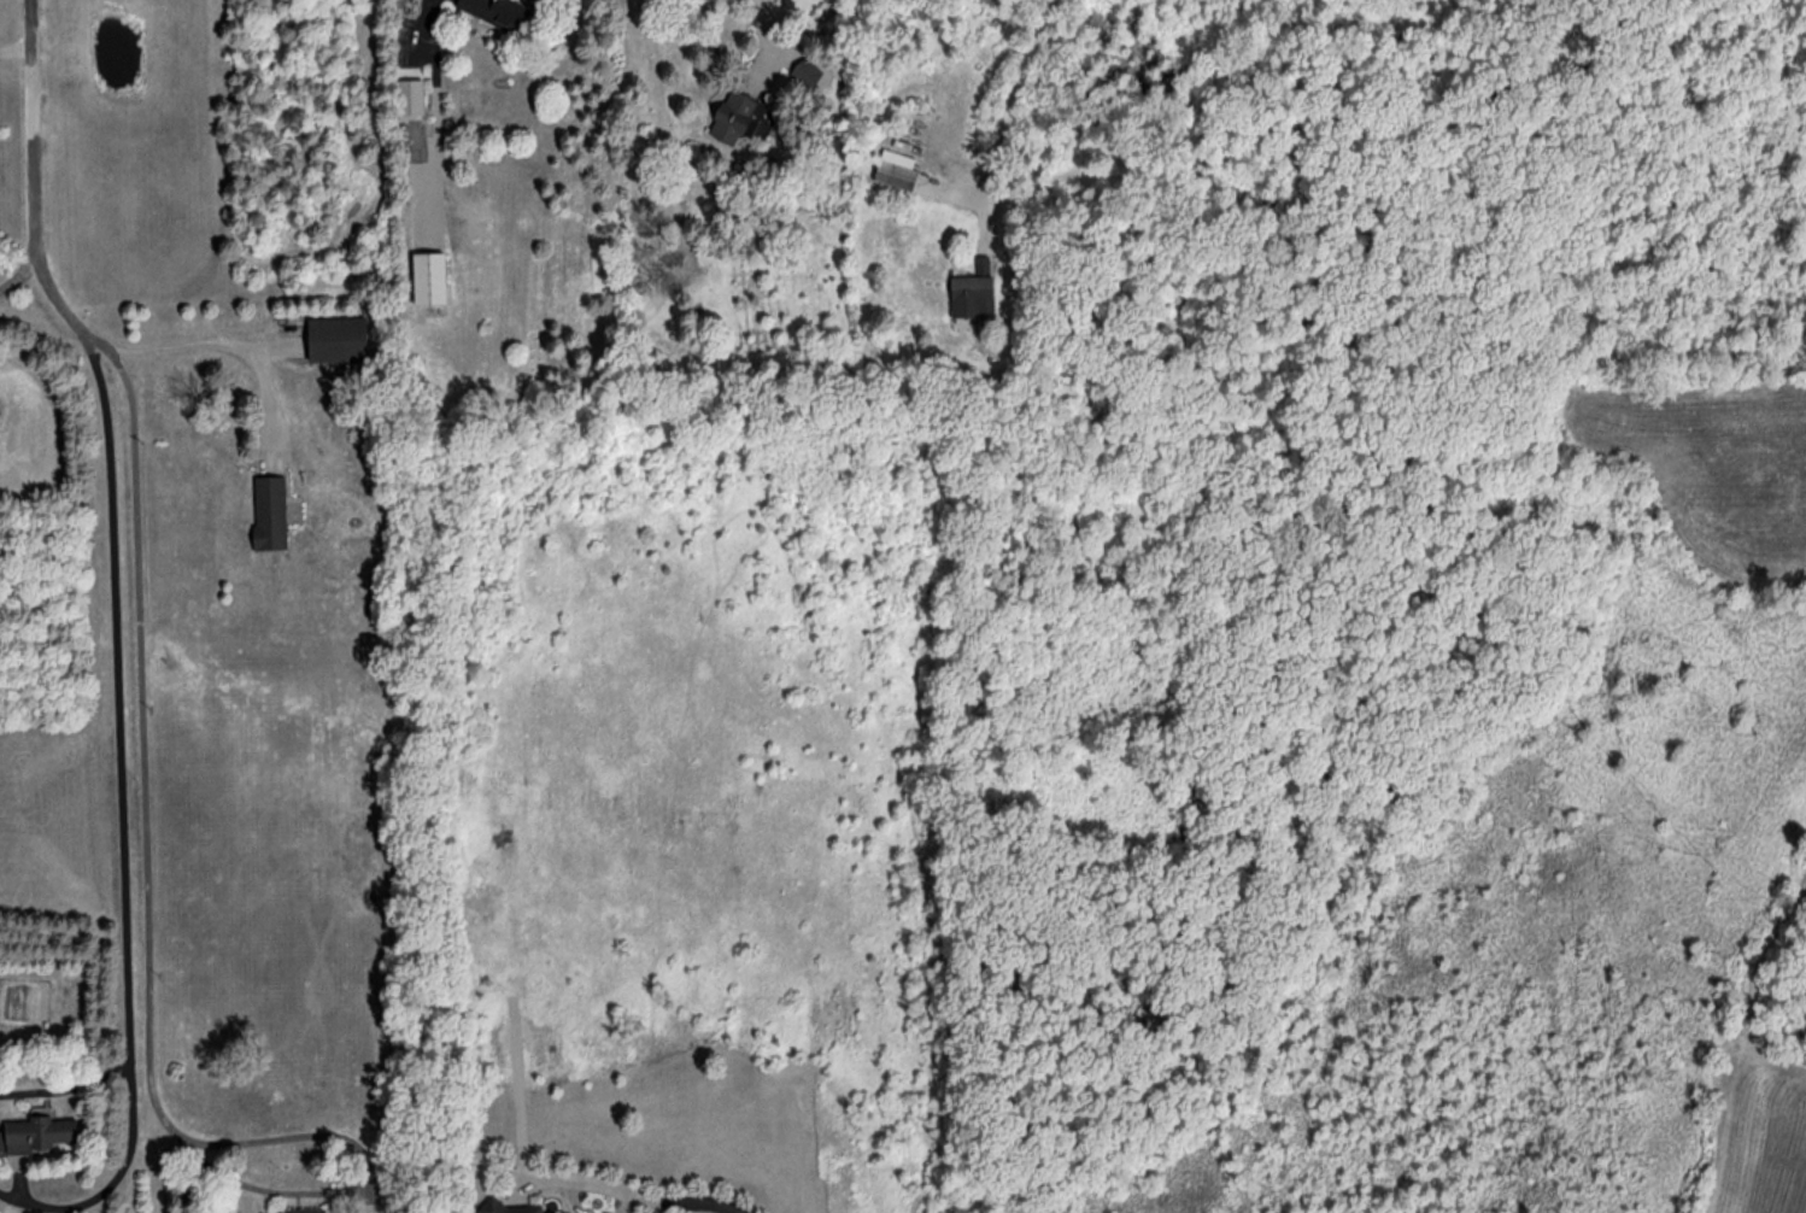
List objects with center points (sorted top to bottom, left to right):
building: (500, 12)
road: (770, 19)
road: (426, 25)
road: (17, 57)
building: (808, 74)
building: (411, 96)
road: (1007, 118)
building: (740, 121)
building: (898, 170)
building: (417, 236)
road: (22, 273)
building: (975, 298)
building: (339, 340)
road: (225, 342)
building: (272, 512)
road: (145, 566)
road: (118, 693)
road: (69, 1088)
building: (45, 1133)
road: (363, 1178)
road: (113, 1182)
road: (631, 1197)
building: (516, 1208)
building: (301, 1209)

